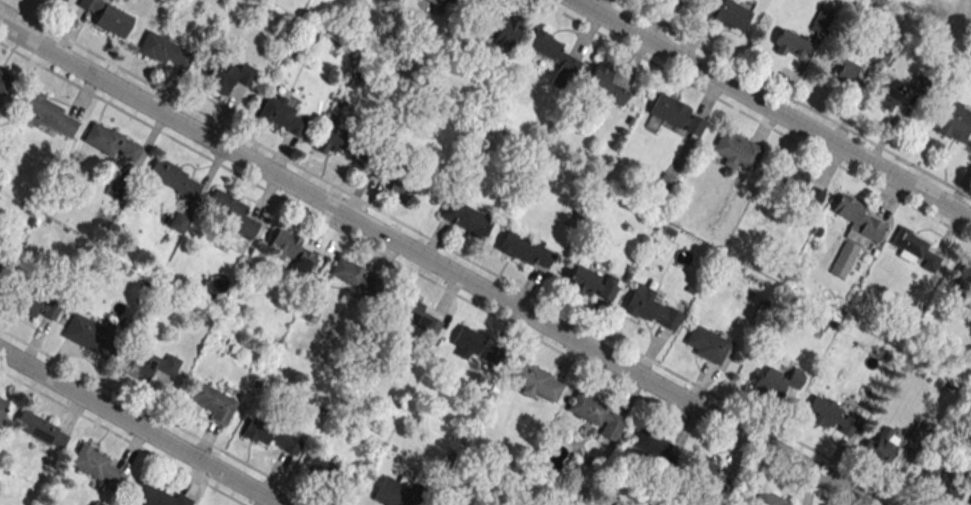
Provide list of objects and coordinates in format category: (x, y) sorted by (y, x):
building: (57, 2)
building: (436, 2)
building: (725, 13)
building: (106, 17)
building: (506, 32)
building: (789, 45)
building: (162, 50)
building: (554, 57)
building: (878, 57)
building: (845, 71)
building: (226, 75)
building: (4, 82)
building: (604, 84)
building: (889, 93)
road: (793, 98)
road: (773, 108)
building: (46, 114)
building: (675, 114)
building: (281, 116)
road: (754, 119)
building: (955, 123)
building: (112, 143)
building: (343, 144)
building: (735, 150)
building: (174, 178)
building: (402, 183)
building: (799, 186)
building: (230, 213)
building: (465, 217)
building: (857, 217)
building: (178, 222)
building: (909, 245)
building: (524, 248)
building: (292, 252)
road: (456, 253)
building: (844, 259)
road: (437, 263)
road: (419, 273)
building: (354, 276)
building: (964, 276)
building: (590, 283)
building: (36, 306)
building: (649, 308)
building: (416, 313)
building: (91, 335)
building: (706, 344)
building: (476, 345)
building: (149, 363)
building: (533, 379)
building: (777, 380)
building: (213, 402)
building: (2, 405)
building: (596, 413)
building: (829, 415)
road: (160, 416)
building: (38, 428)
road: (140, 428)
building: (269, 434)
road: (122, 437)
building: (650, 443)
building: (882, 444)
building: (94, 465)
building: (709, 473)
building: (946, 479)
building: (392, 492)
building: (155, 496)
building: (766, 498)
building: (970, 503)

